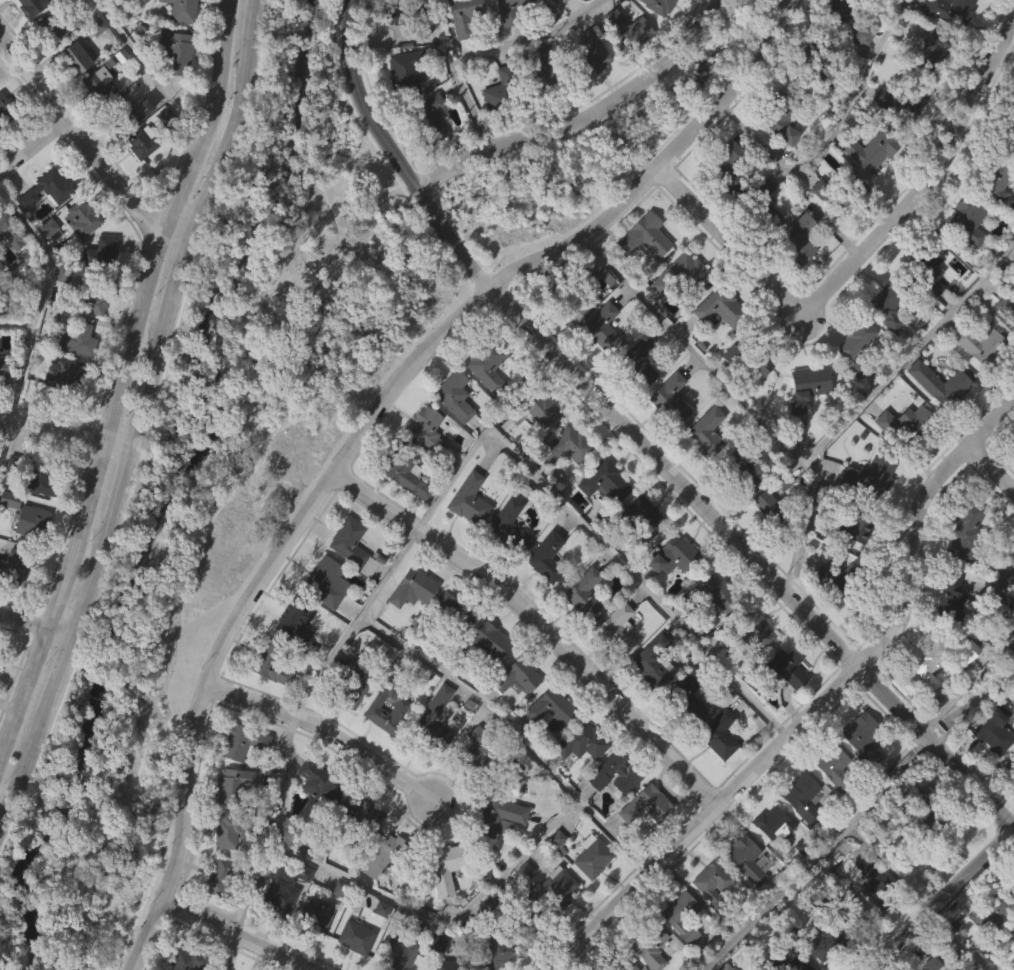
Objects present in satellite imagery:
building: (561, 0)
building: (612, 0)
building: (875, 1)
building: (660, 5)
building: (677, 5)
building: (32, 6)
building: (970, 6)
building: (183, 10)
building: (509, 10)
building: (951, 11)
building: (9, 12)
building: (406, 14)
road: (249, 16)
building: (466, 19)
building: (850, 21)
building: (53, 27)
building: (628, 29)
building: (91, 30)
building: (656, 34)
building: (508, 37)
building: (28, 41)
building: (948, 42)
building: (834, 47)
building: (176, 50)
building: (928, 50)
building: (461, 51)
road: (491, 52)
building: (390, 54)
building: (588, 56)
building: (75, 58)
building: (624, 66)
building: (816, 66)
road: (147, 68)
building: (53, 70)
building: (405, 71)
building: (859, 71)
building: (541, 72)
road: (356, 81)
building: (99, 84)
building: (926, 87)
building: (172, 89)
building: (503, 91)
building: (588, 92)
building: (71, 96)
building: (901, 103)
building: (6, 108)
building: (400, 110)
building: (123, 113)
building: (538, 114)
building: (782, 117)
building: (429, 119)
building: (96, 122)
road: (566, 122)
building: (495, 129)
building: (1008, 132)
building: (150, 134)
road: (832, 134)
building: (896, 142)
road: (33, 145)
road: (90, 151)
building: (872, 151)
road: (227, 152)
building: (160, 154)
building: (428, 154)
building: (1009, 155)
building: (777, 159)
building: (728, 167)
building: (996, 177)
building: (140, 180)
building: (49, 188)
building: (867, 190)
building: (843, 195)
building: (763, 205)
building: (723, 213)
building: (82, 217)
building: (992, 219)
building: (970, 220)
building: (45, 226)
building: (817, 228)
building: (11, 229)
building: (646, 236)
building: (800, 239)
building: (762, 244)
building: (101, 253)
road: (860, 254)
building: (76, 255)
building: (963, 258)
building: (45, 265)
building: (1, 266)
building: (927, 268)
building: (641, 274)
building: (683, 275)
building: (794, 277)
building: (92, 294)
road: (172, 296)
building: (567, 297)
building: (20, 302)
building: (894, 303)
building: (1005, 306)
building: (722, 307)
building: (922, 310)
road: (37, 311)
building: (677, 313)
building: (59, 314)
road: (17, 323)
building: (604, 329)
building: (76, 340)
building: (983, 343)
building: (716, 346)
building: (858, 346)
building: (884, 346)
building: (573, 347)
building: (752, 354)
building: (486, 362)
building: (639, 363)
building: (204, 364)
building: (599, 367)
building: (6, 372)
building: (72, 377)
road: (120, 379)
building: (976, 382)
building: (850, 383)
building: (942, 384)
road: (149, 386)
building: (809, 387)
building: (727, 392)
building: (453, 395)
building: (672, 399)
building: (634, 400)
building: (483, 403)
building: (530, 404)
building: (757, 404)
building: (2, 405)
building: (61, 412)
building: (936, 422)
road: (368, 424)
building: (802, 425)
building: (906, 426)
road: (68, 427)
building: (426, 430)
building: (449, 431)
building: (708, 431)
building: (667, 437)
building: (568, 447)
building: (531, 449)
road: (802, 458)
building: (900, 462)
road: (992, 466)
building: (423, 468)
building: (741, 468)
building: (702, 470)
building: (406, 474)
building: (34, 475)
building: (869, 476)
road: (123, 480)
park: (219, 480)
building: (606, 482)
building: (563, 484)
building: (192, 495)
building: (471, 501)
road: (700, 503)
building: (773, 503)
building: (739, 509)
building: (401, 513)
building: (867, 513)
building: (641, 518)
building: (606, 519)
building: (33, 523)
building: (511, 524)
building: (854, 528)
building: (967, 530)
road: (591, 531)
building: (8, 537)
building: (466, 537)
building: (764, 541)
building: (353, 546)
building: (639, 555)
building: (676, 555)
building: (547, 557)
building: (28, 559)
building: (155, 561)
building: (506, 562)
building: (848, 566)
building: (14, 567)
building: (960, 568)
road: (93, 578)
building: (835, 581)
building: (327, 582)
building: (1013, 582)
building: (348, 583)
building: (414, 589)
building: (670, 593)
building: (710, 593)
building: (141, 595)
building: (542, 595)
building: (586, 595)
building: (955, 600)
building: (13, 606)
building: (454, 612)
building: (323, 618)
building: (294, 620)
building: (1009, 620)
road: (353, 621)
building: (832, 621)
road: (538, 624)
building: (409, 626)
building: (709, 626)
building: (619, 628)
road: (37, 630)
building: (749, 630)
building: (580, 631)
building: (947, 635)
building: (492, 640)
building: (453, 648)
building: (970, 651)
building: (0, 652)
road: (993, 655)
building: (289, 661)
building: (655, 663)
building: (272, 664)
building: (933, 665)
building: (615, 666)
building: (752, 668)
building: (785, 669)
building: (516, 674)
road: (60, 676)
building: (486, 678)
building: (352, 684)
building: (964, 688)
building: (688, 697)
building: (926, 703)
building: (647, 704)
building: (549, 706)
building: (781, 706)
road: (819, 706)
building: (385, 707)
building: (269, 708)
building: (509, 717)
building: (352, 719)
building: (433, 719)
building: (992, 731)
road: (327, 732)
building: (684, 732)
building: (720, 735)
building: (866, 737)
building: (244, 742)
building: (583, 742)
building: (397, 743)
building: (547, 745)
building: (432, 754)
building: (480, 754)
building: (1011, 764)
building: (836, 766)
road: (23, 769)
building: (990, 769)
building: (715, 772)
building: (628, 774)
building: (859, 775)
building: (578, 779)
building: (318, 781)
building: (236, 784)
building: (474, 787)
building: (803, 796)
building: (649, 804)
building: (830, 805)
building: (610, 812)
building: (363, 813)
building: (499, 816)
building: (933, 817)
building: (317, 820)
building: (774, 823)
building: (230, 827)
building: (798, 835)
building: (642, 842)
building: (358, 852)
building: (495, 854)
building: (386, 855)
building: (593, 856)
building: (745, 859)
building: (769, 861)
building: (444, 866)
building: (225, 875)
building: (877, 882)
building: (715, 884)
building: (560, 887)
building: (379, 894)
building: (588, 894)
building: (280, 895)
building: (742, 895)
road: (937, 903)
building: (440, 906)
building: (998, 908)
building: (520, 909)
building: (301, 910)
building: (866, 910)
building: (853, 912)
building: (216, 915)
building: (317, 915)
building: (531, 915)
building: (677, 916)
road: (432, 918)
building: (708, 919)
building: (555, 924)
building: (467, 930)
building: (276, 932)
road: (236, 935)
building: (357, 936)
building: (824, 939)
building: (651, 945)
building: (378, 946)
building: (492, 949)
building: (675, 950)
building: (984, 950)
building: (400, 951)
building: (313, 952)
building: (776, 956)
building: (188, 959)
building: (622, 963)
building: (931, 963)
building: (451, 964)
building: (350, 965)
building: (650, 966)
building: (823, 967)

